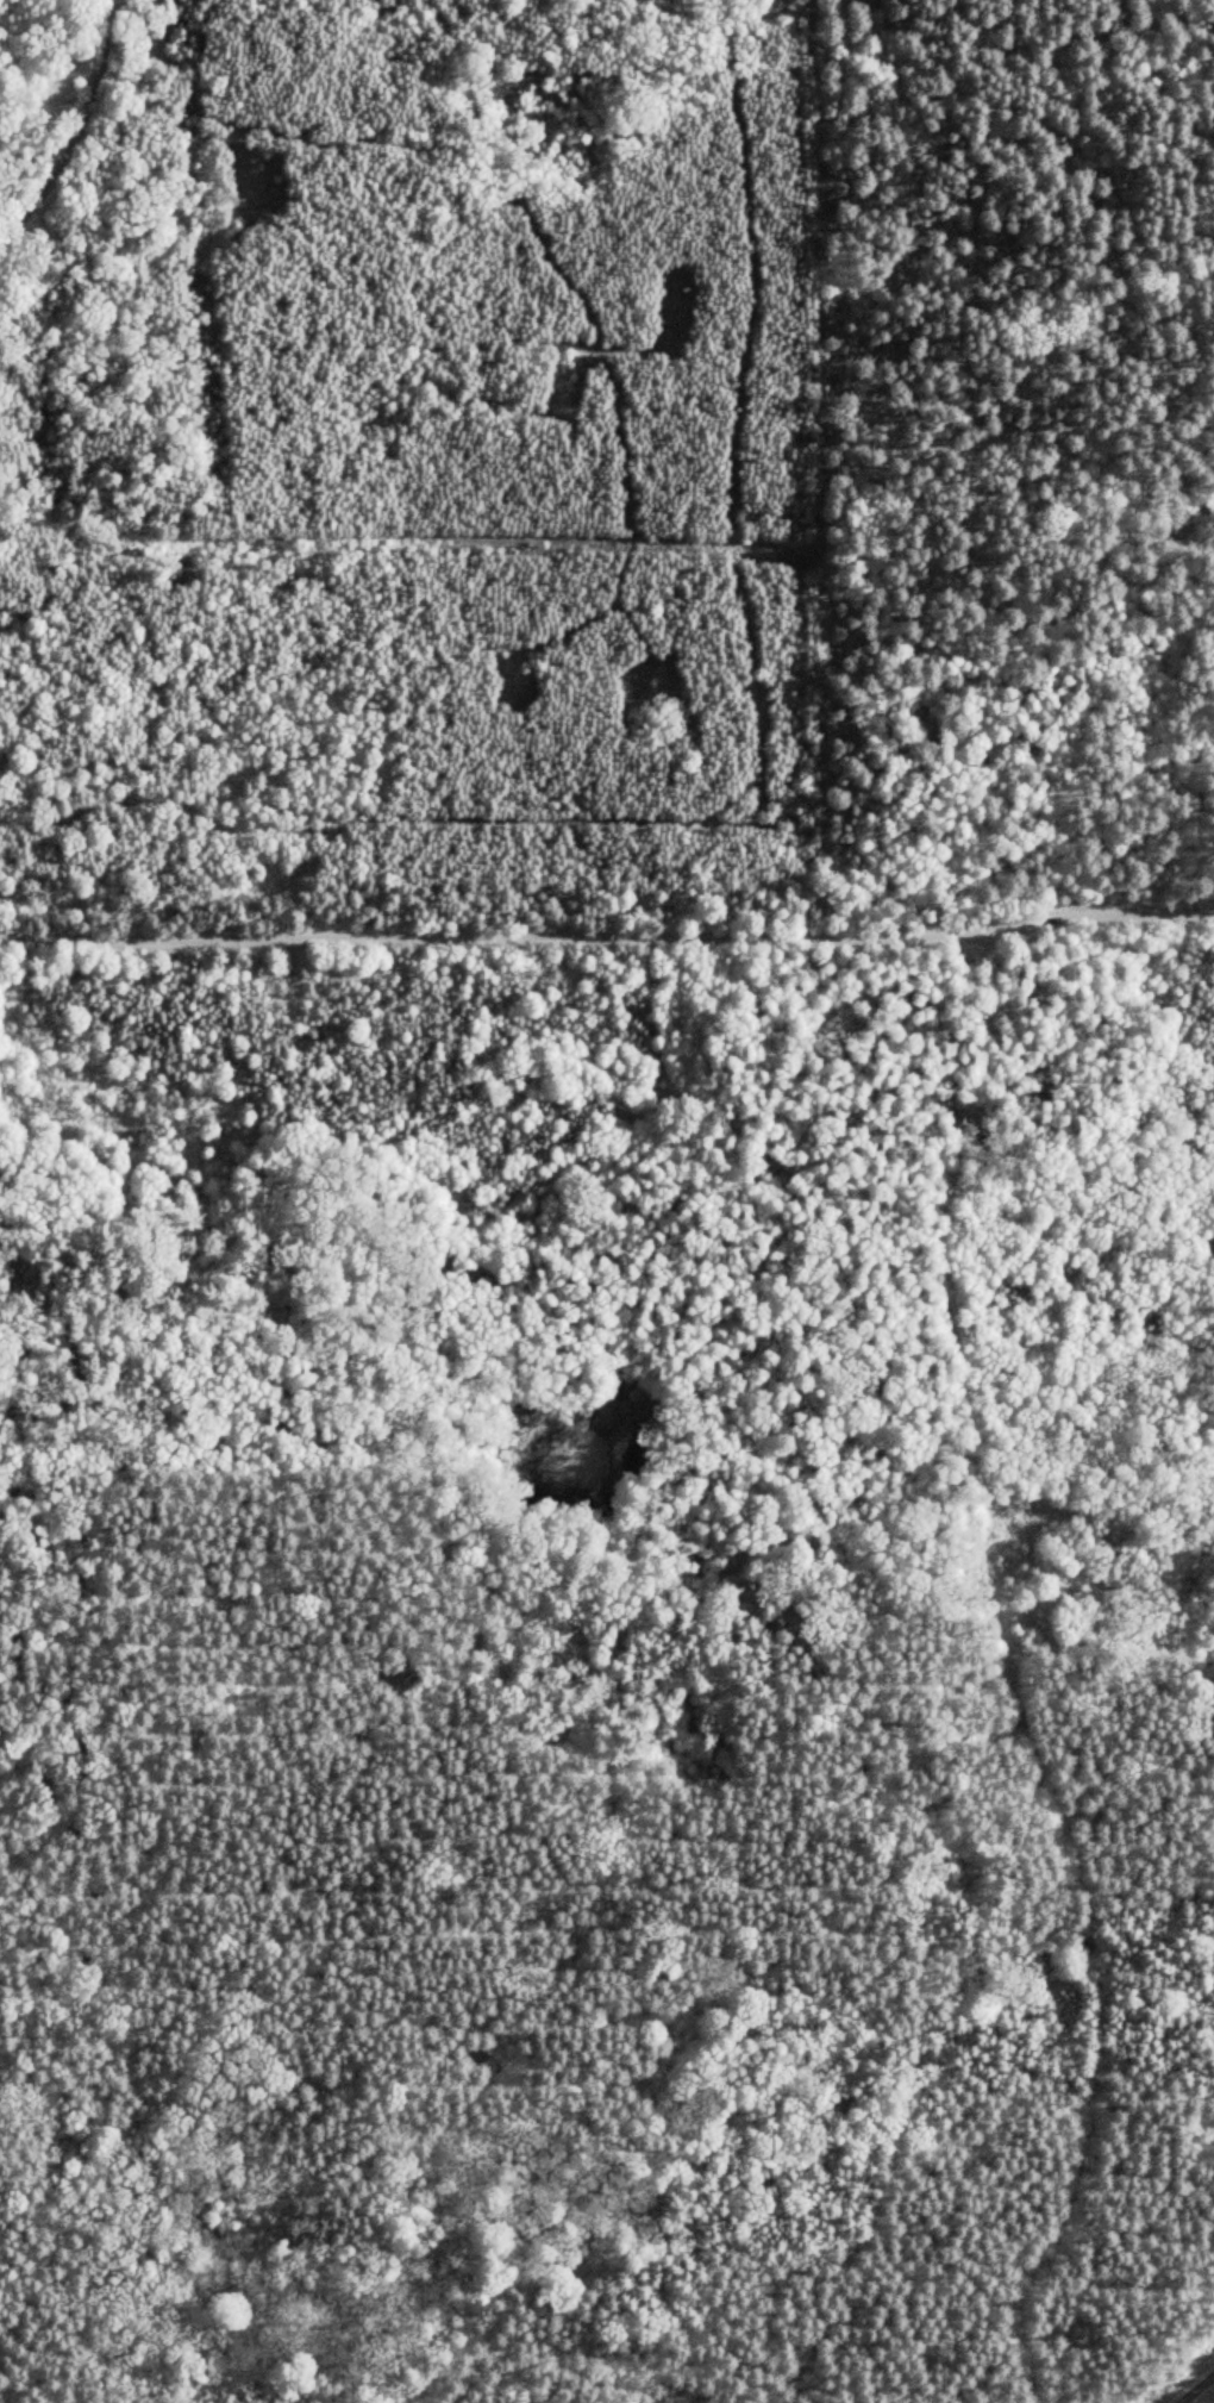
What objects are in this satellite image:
road: (607, 941)
park: (669, 1458)
road: (60, 2330)

